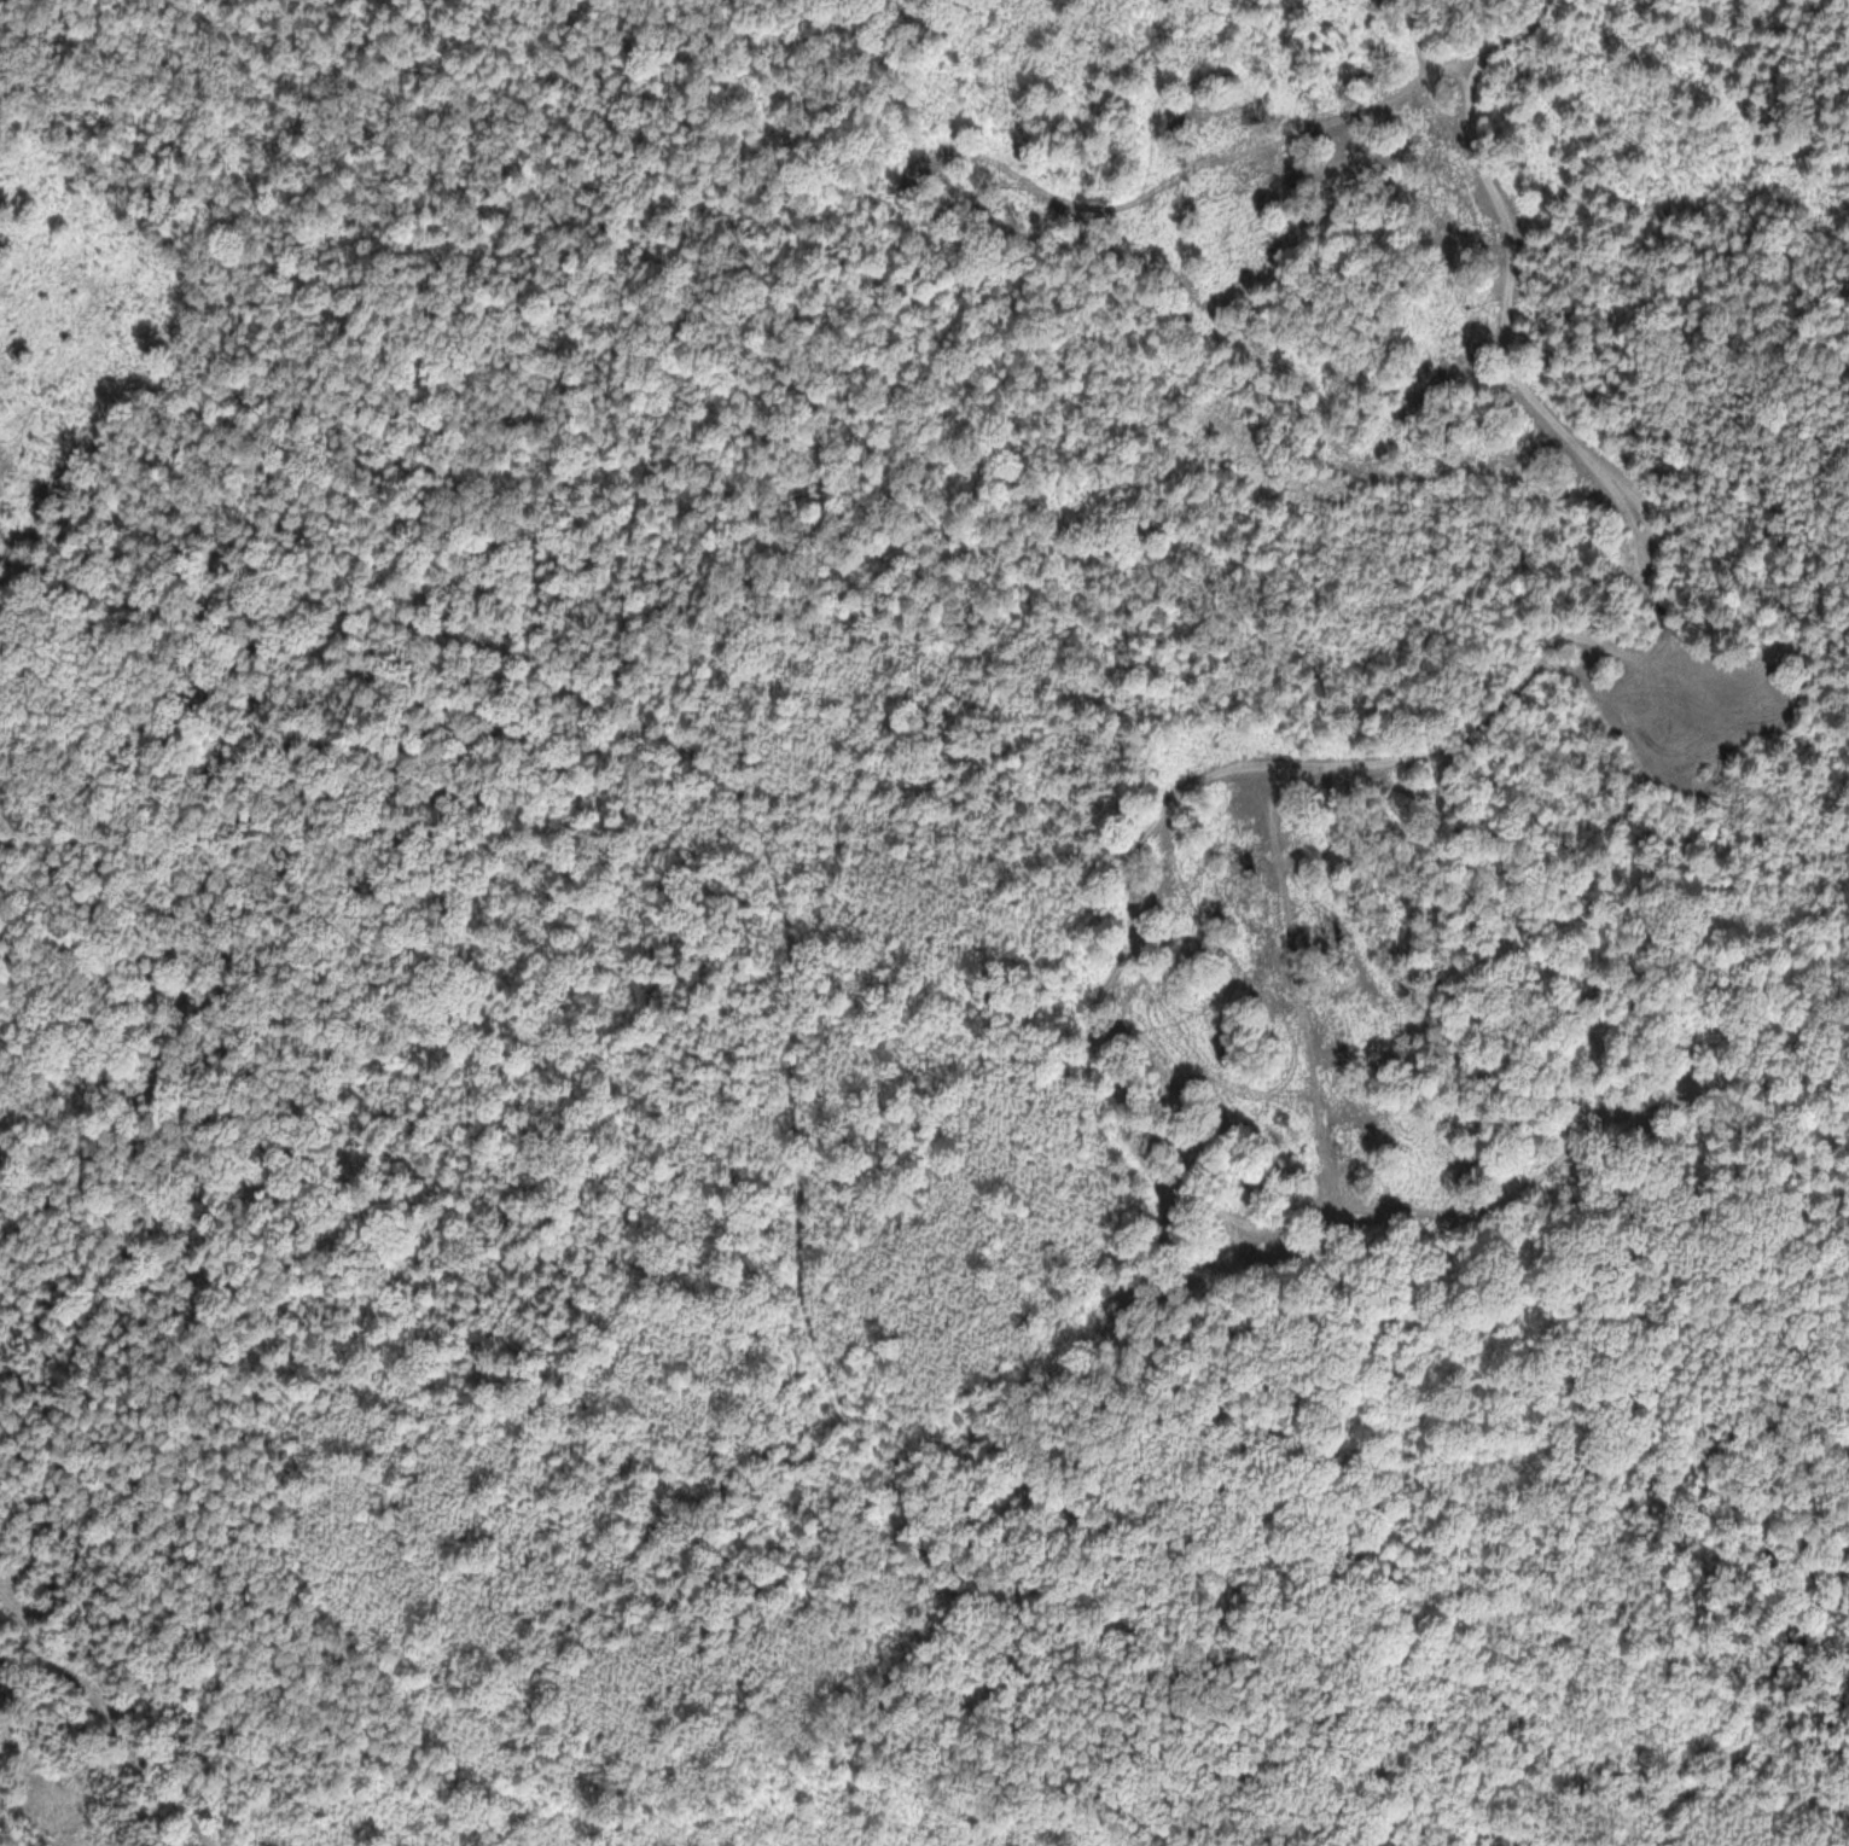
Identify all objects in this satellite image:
road: (106, 1719)

